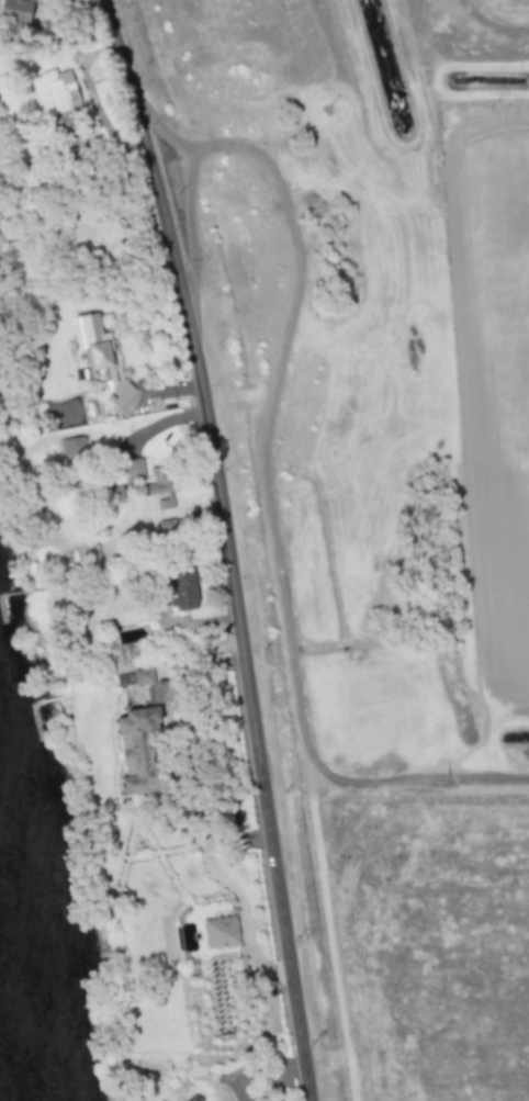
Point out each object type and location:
building: (14, 10)
building: (63, 91)
building: (100, 358)
building: (71, 446)
building: (134, 467)
building: (162, 484)
building: (166, 526)
road: (229, 546)
building: (181, 589)
building: (154, 685)
building: (139, 752)
building: (220, 931)

